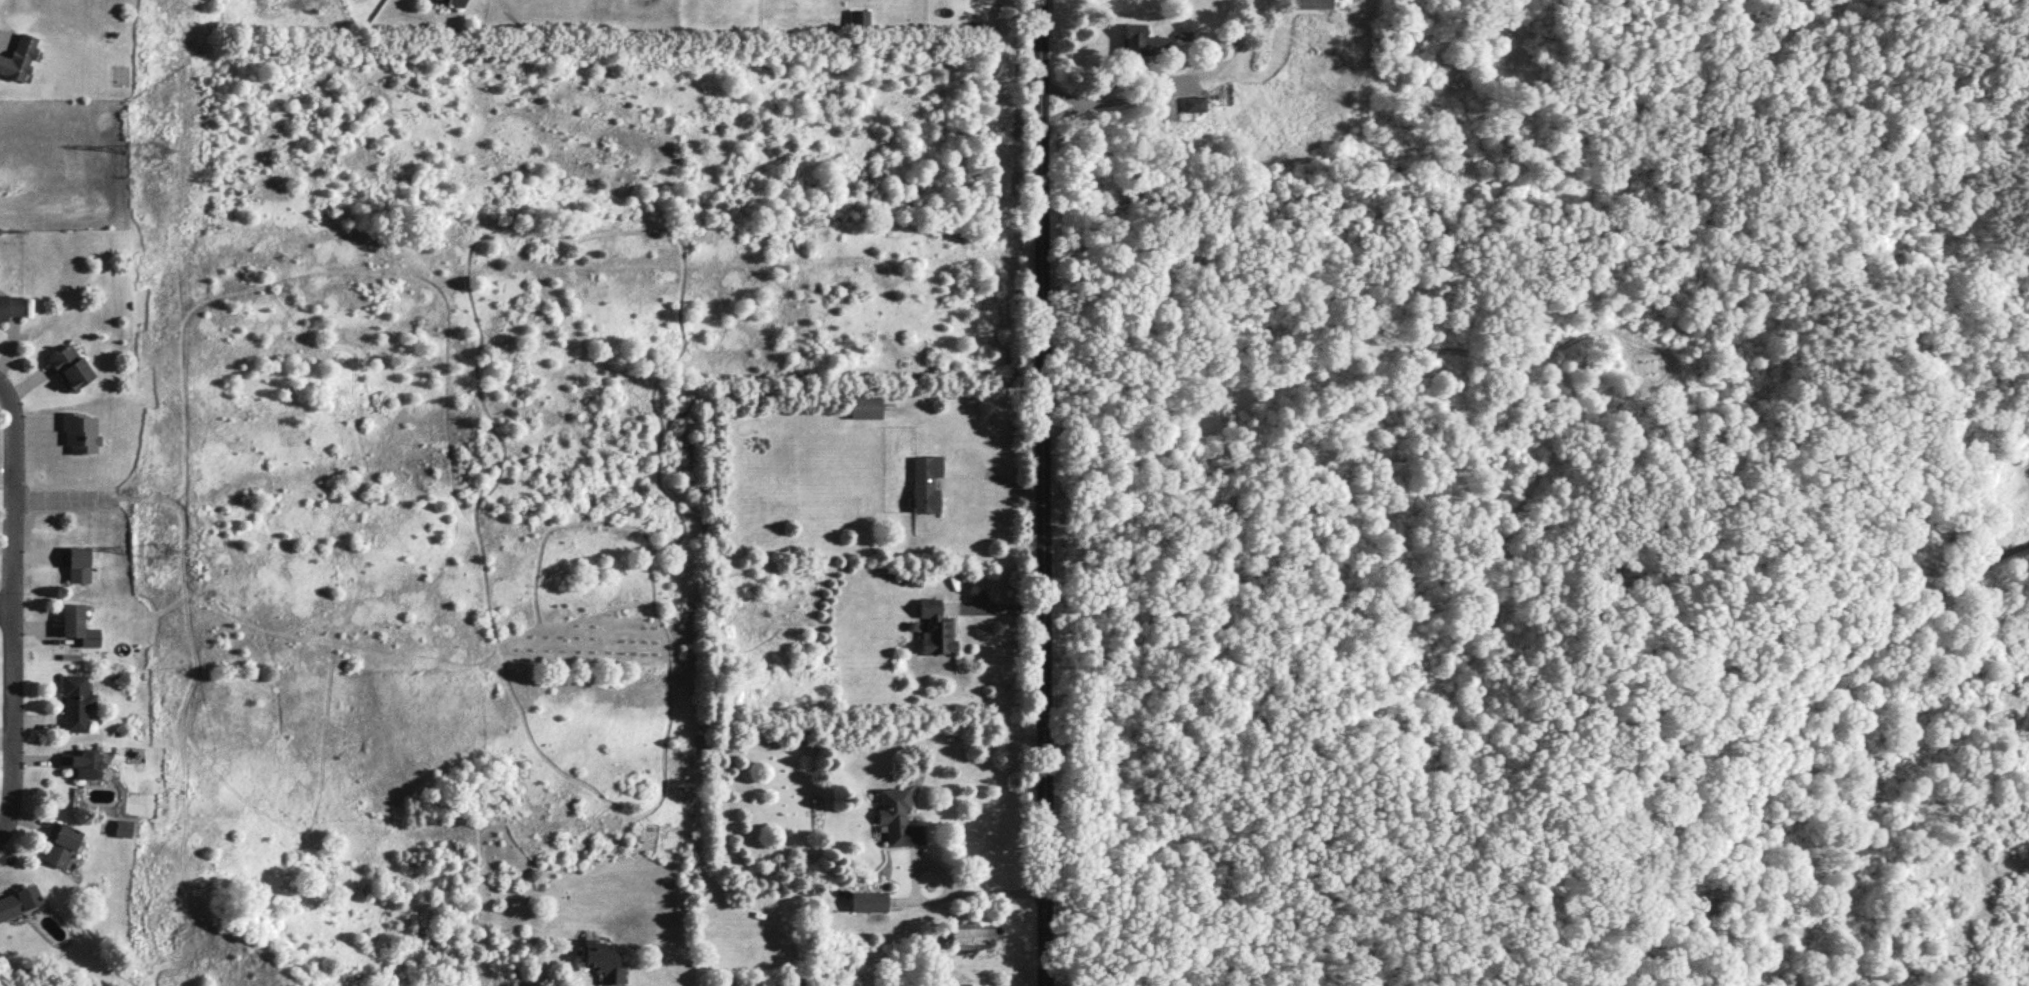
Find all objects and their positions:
building: (455, 2)
building: (1310, 3)
building: (858, 19)
building: (1142, 40)
building: (18, 57)
road: (1158, 72)
road: (1095, 100)
building: (1193, 103)
power tower: (158, 153)
building: (10, 305)
building: (69, 366)
building: (864, 406)
building: (80, 432)
building: (923, 482)
road: (1047, 493)
road: (77, 494)
power tower: (158, 550)
building: (79, 564)
road: (9, 604)
road: (18, 605)
road: (995, 607)
building: (77, 624)
building: (935, 628)
building: (75, 702)
building: (81, 762)
road: (1766, 773)
building: (896, 818)
building: (122, 828)
building: (60, 843)
building: (72, 861)
road: (984, 893)
building: (865, 900)
building: (19, 901)
building: (965, 935)
building: (601, 960)

